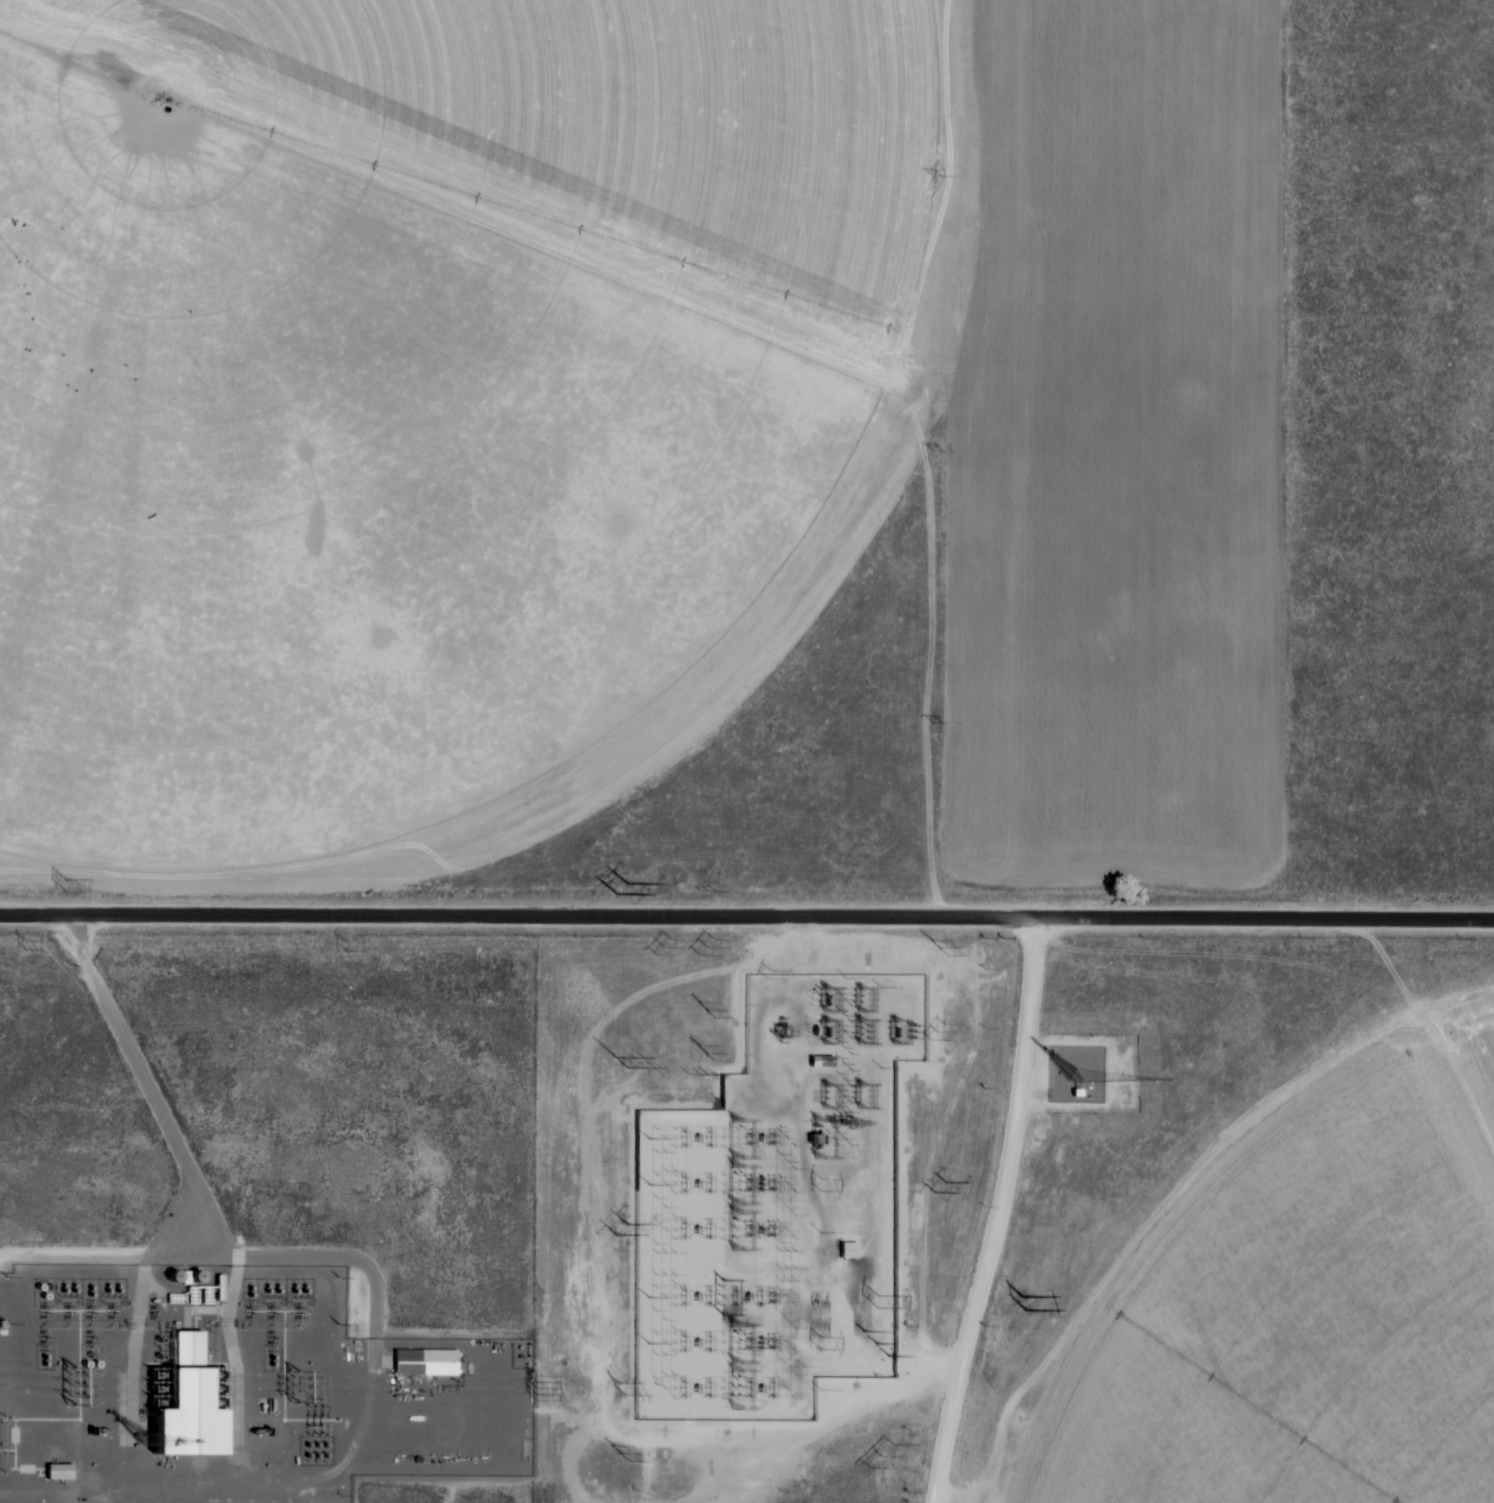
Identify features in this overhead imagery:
power tower: (937, 175)
power tower: (940, 722)
power tower: (67, 885)
power tower: (620, 887)
road: (747, 916)
power tower: (23, 944)
power tower: (707, 946)
road: (795, 946)
power tower: (941, 946)
power tower: (346, 947)
power tower: (666, 948)
power tower: (770, 972)
power tower: (709, 1011)
power tower: (939, 1031)
road: (131, 1046)
power tower: (711, 1056)
power tower: (621, 1058)
building: (821, 1061)
power tower: (701, 1075)
power tower: (939, 1186)
power substation: (778, 1208)
road: (999, 1212)
road: (214, 1217)
power tower: (619, 1227)
building: (849, 1252)
road: (115, 1256)
road: (357, 1258)
road: (141, 1305)
road: (231, 1341)
power tower: (822, 1343)
power tower: (879, 1343)
building: (427, 1362)
road: (929, 1370)
power tower: (623, 1384)
power tower: (540, 1387)
power substation: (236, 1389)
building: (183, 1406)
power tower: (880, 1449)
power tower: (622, 1453)
building: (64, 1472)

